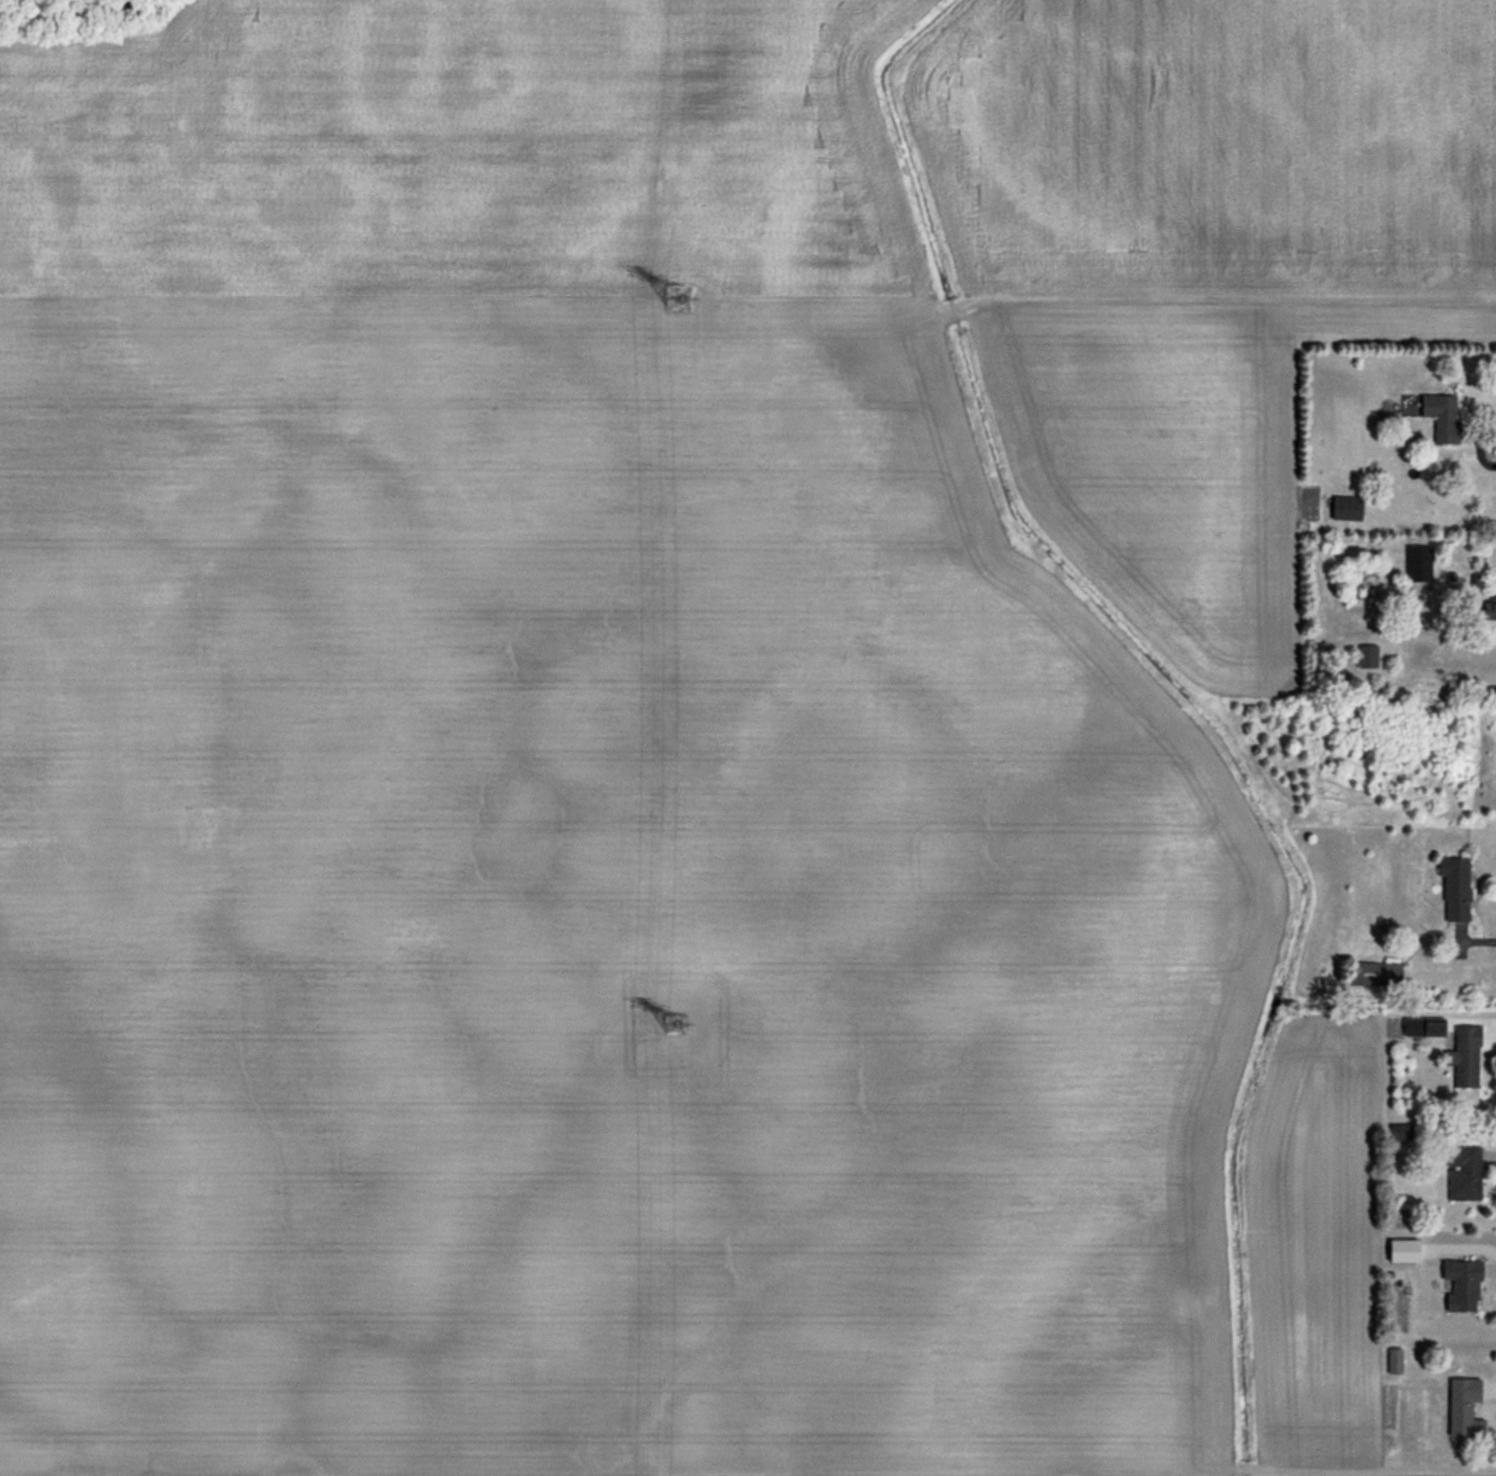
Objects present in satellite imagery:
power tower: (675, 296)
building: (1439, 415)
road: (1474, 445)
building: (1343, 508)
building: (1416, 566)
building: (1485, 608)
building: (1369, 652)
building: (1452, 881)
building: (1380, 974)
power tower: (670, 1024)
building: (1420, 1027)
building: (1462, 1056)
building: (1462, 1173)
building: (1459, 1285)
building: (1393, 1361)
building: (1461, 1410)

